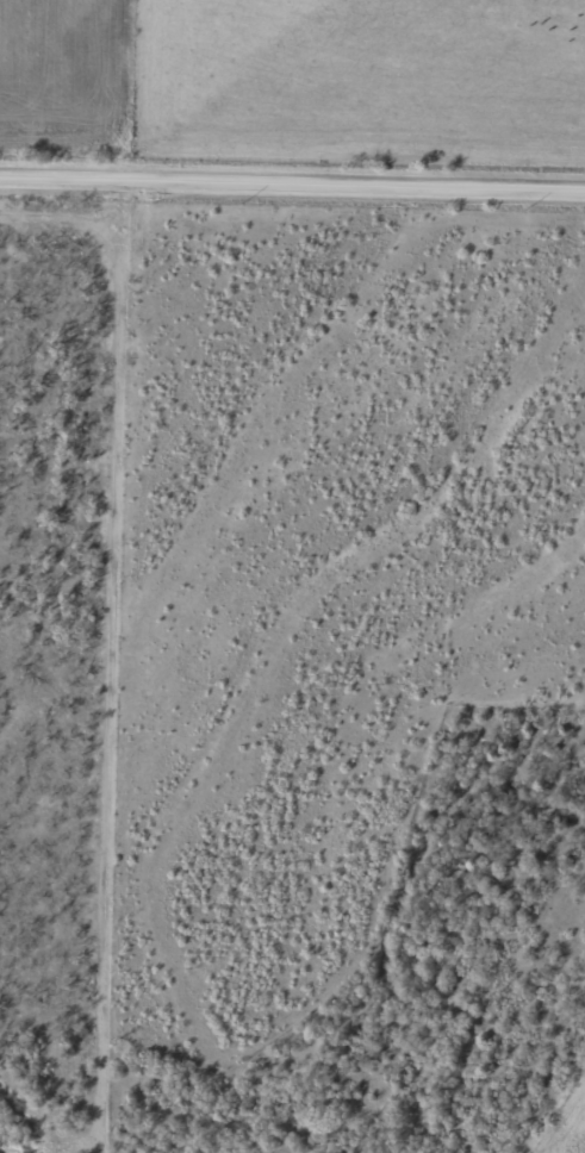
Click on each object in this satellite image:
road: (292, 179)

